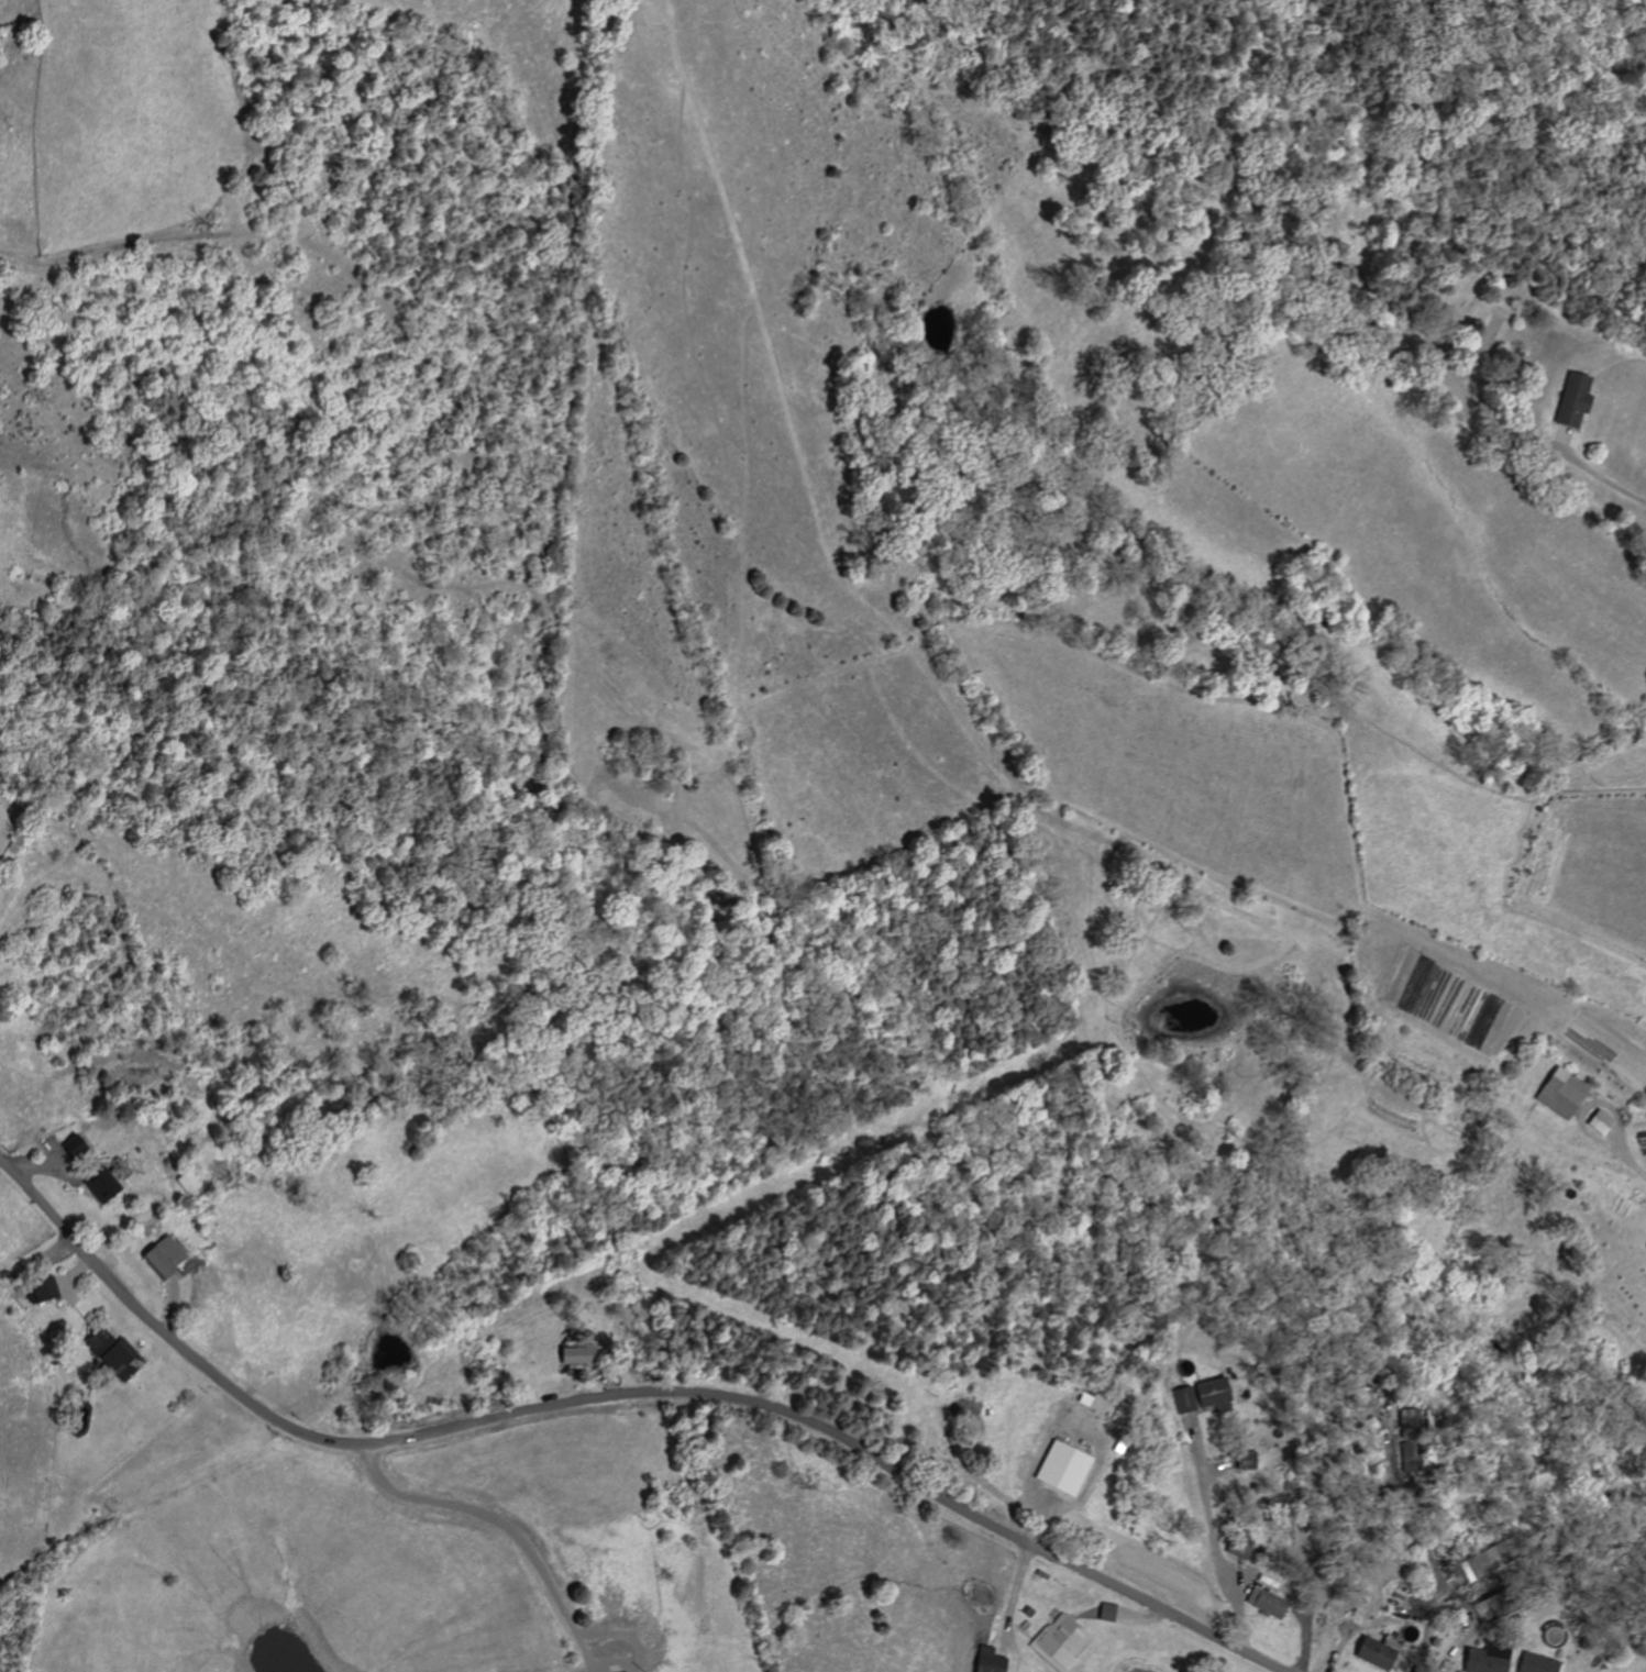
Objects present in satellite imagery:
building: (1569, 399)
road: (1603, 477)
building: (1557, 1093)
building: (1597, 1121)
building: (80, 1145)
road: (1614, 1151)
building: (106, 1186)
building: (1644, 1248)
building: (172, 1258)
building: (48, 1289)
building: (578, 1355)
road: (616, 1396)
building: (1197, 1396)
building: (1060, 1468)
road: (1215, 1544)
building: (1234, 1546)
building: (1261, 1602)
building: (1058, 1641)
building: (1369, 1652)
building: (986, 1660)
building: (1479, 1660)
building: (1532, 1663)

